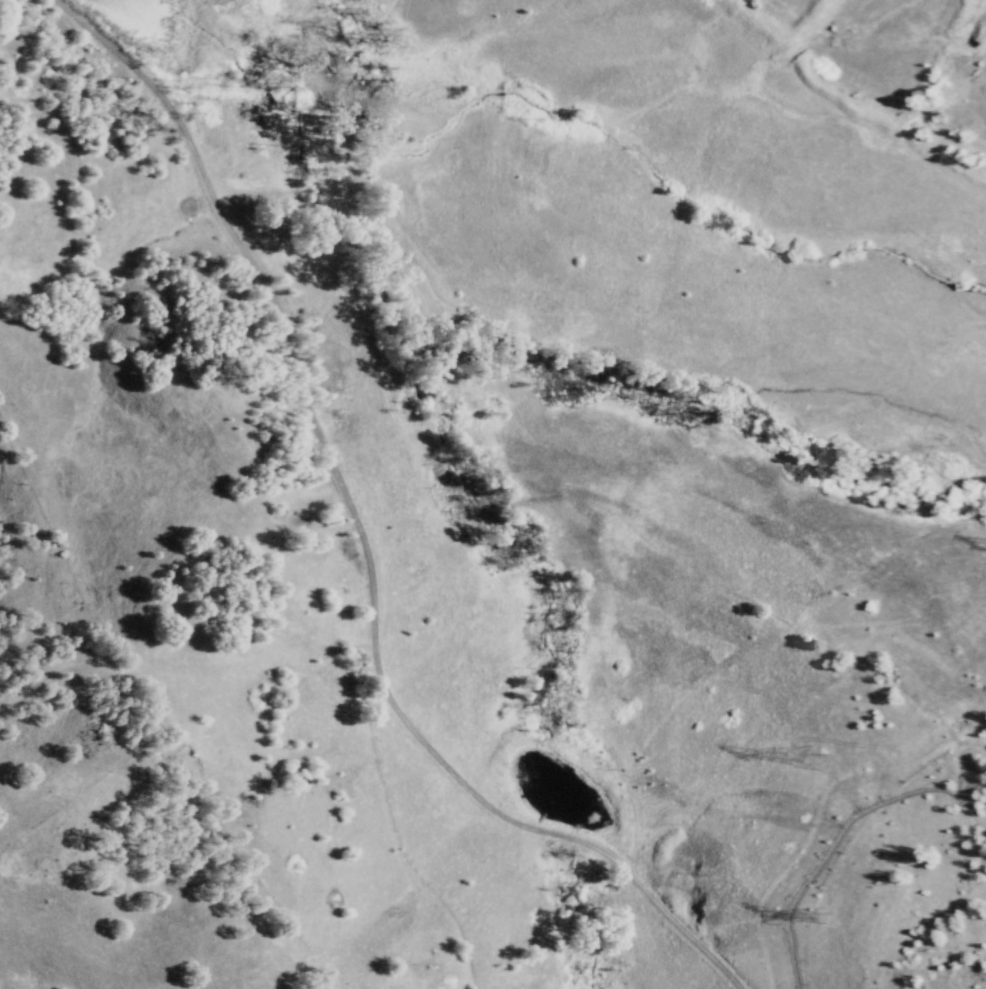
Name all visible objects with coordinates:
road: (361, 536)
power tower: (815, 769)
power tower: (822, 923)

